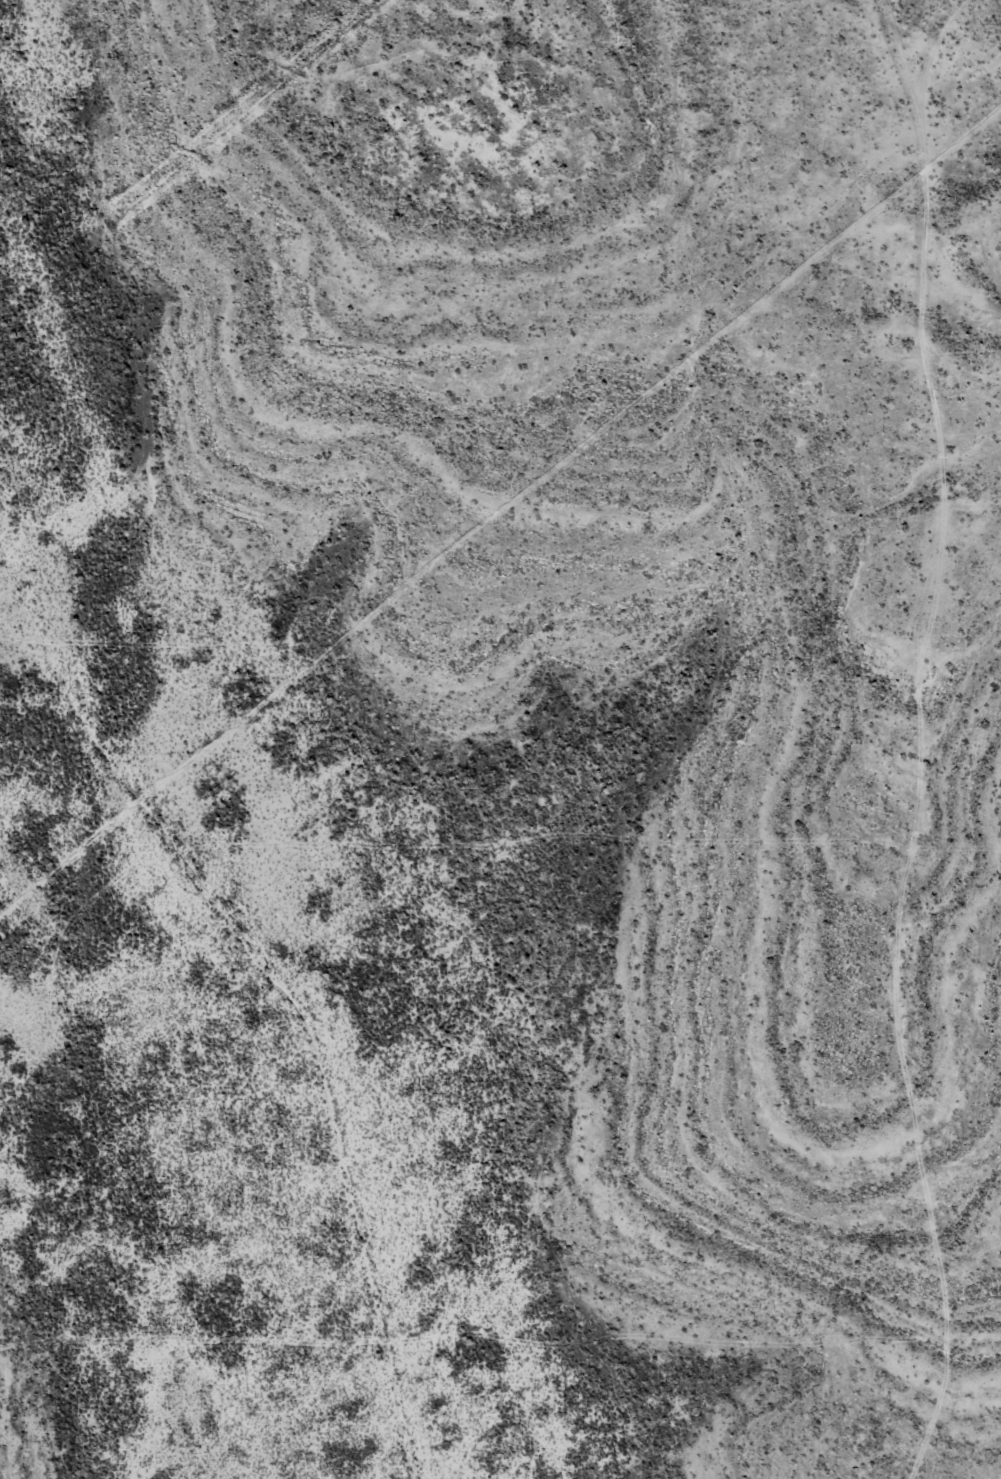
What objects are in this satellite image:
road: (955, 29)
road: (917, 736)

